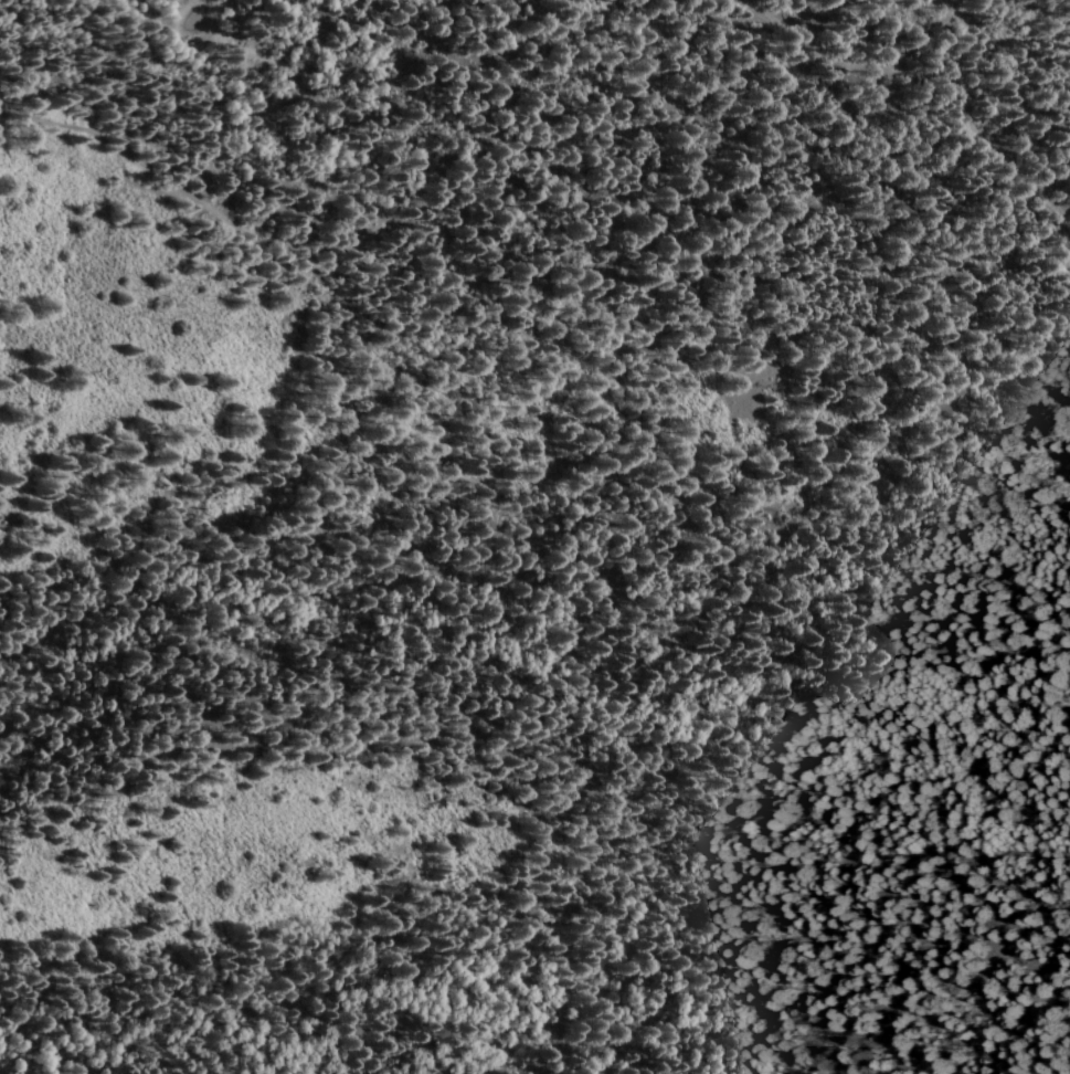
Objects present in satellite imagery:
road: (918, 85)
road: (763, 578)

